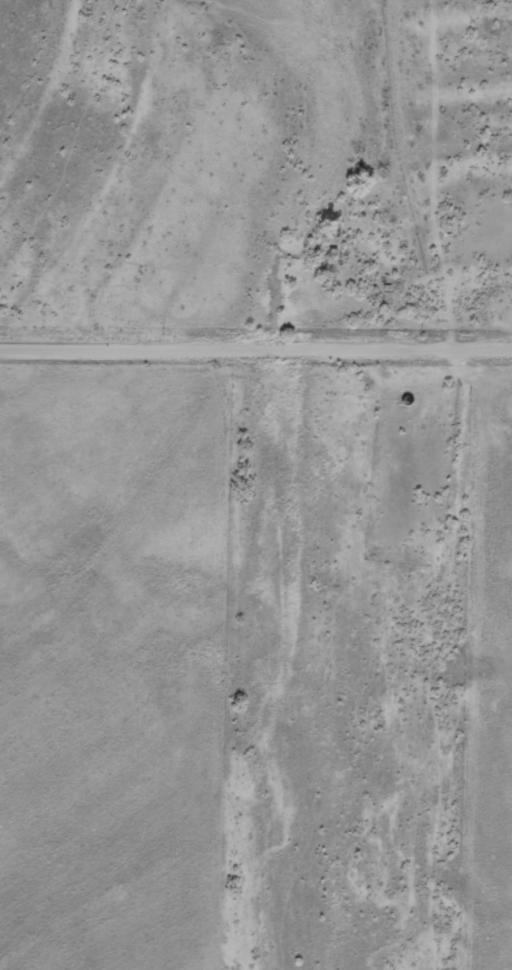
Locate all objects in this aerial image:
road: (255, 348)

